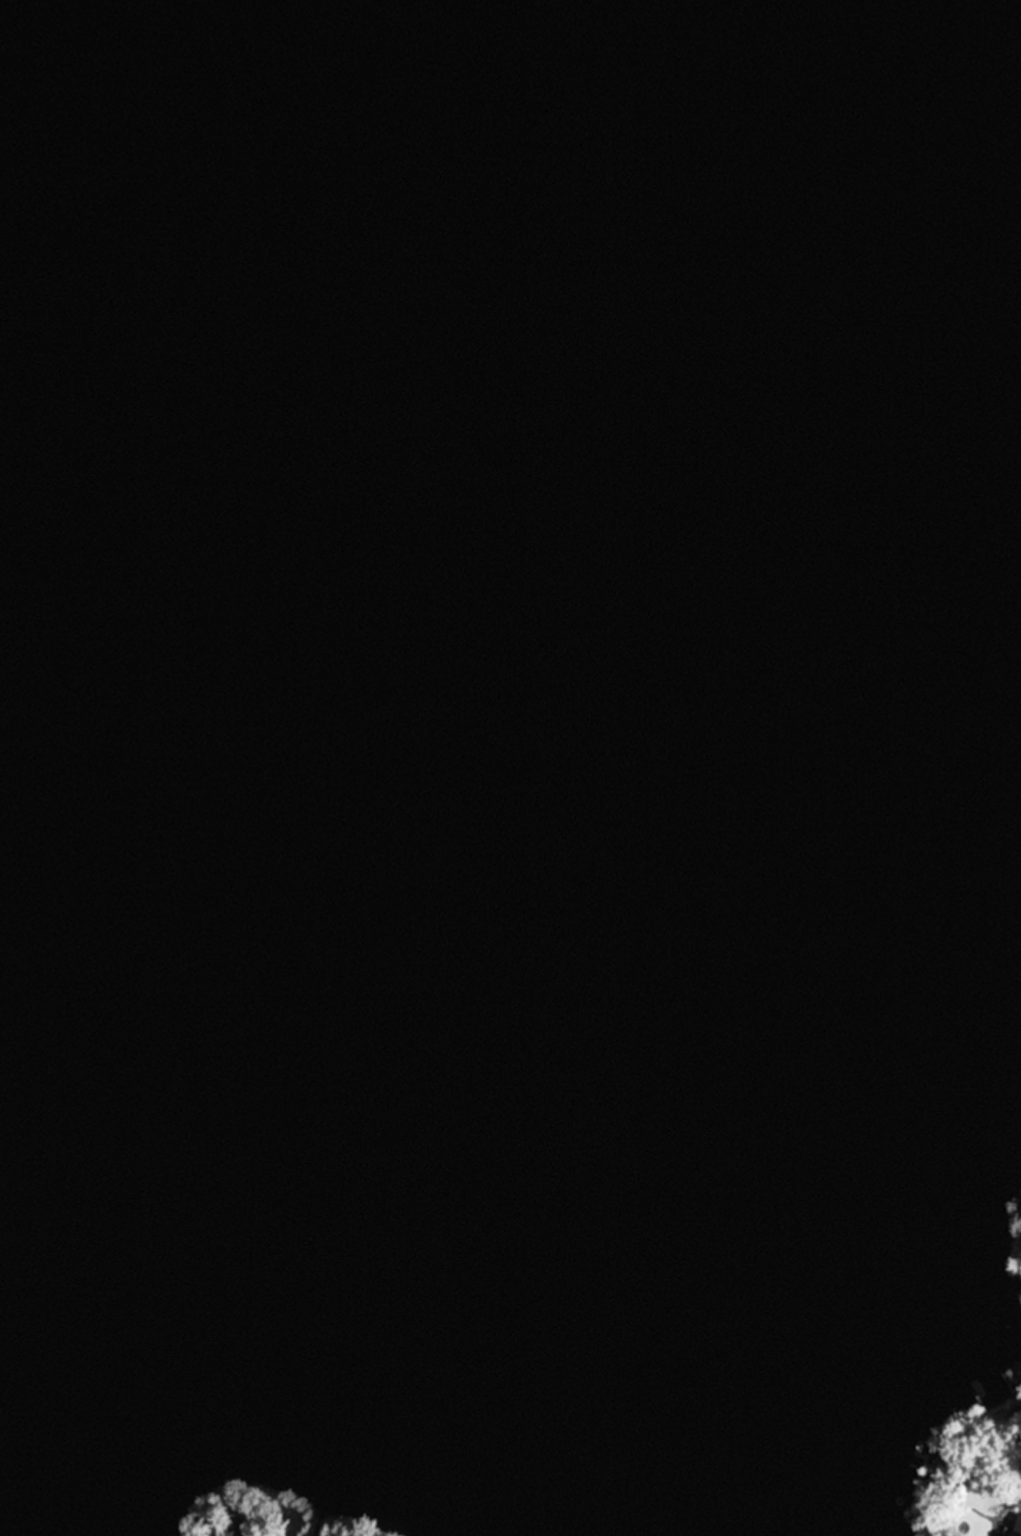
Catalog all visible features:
building: (229, 1535)

